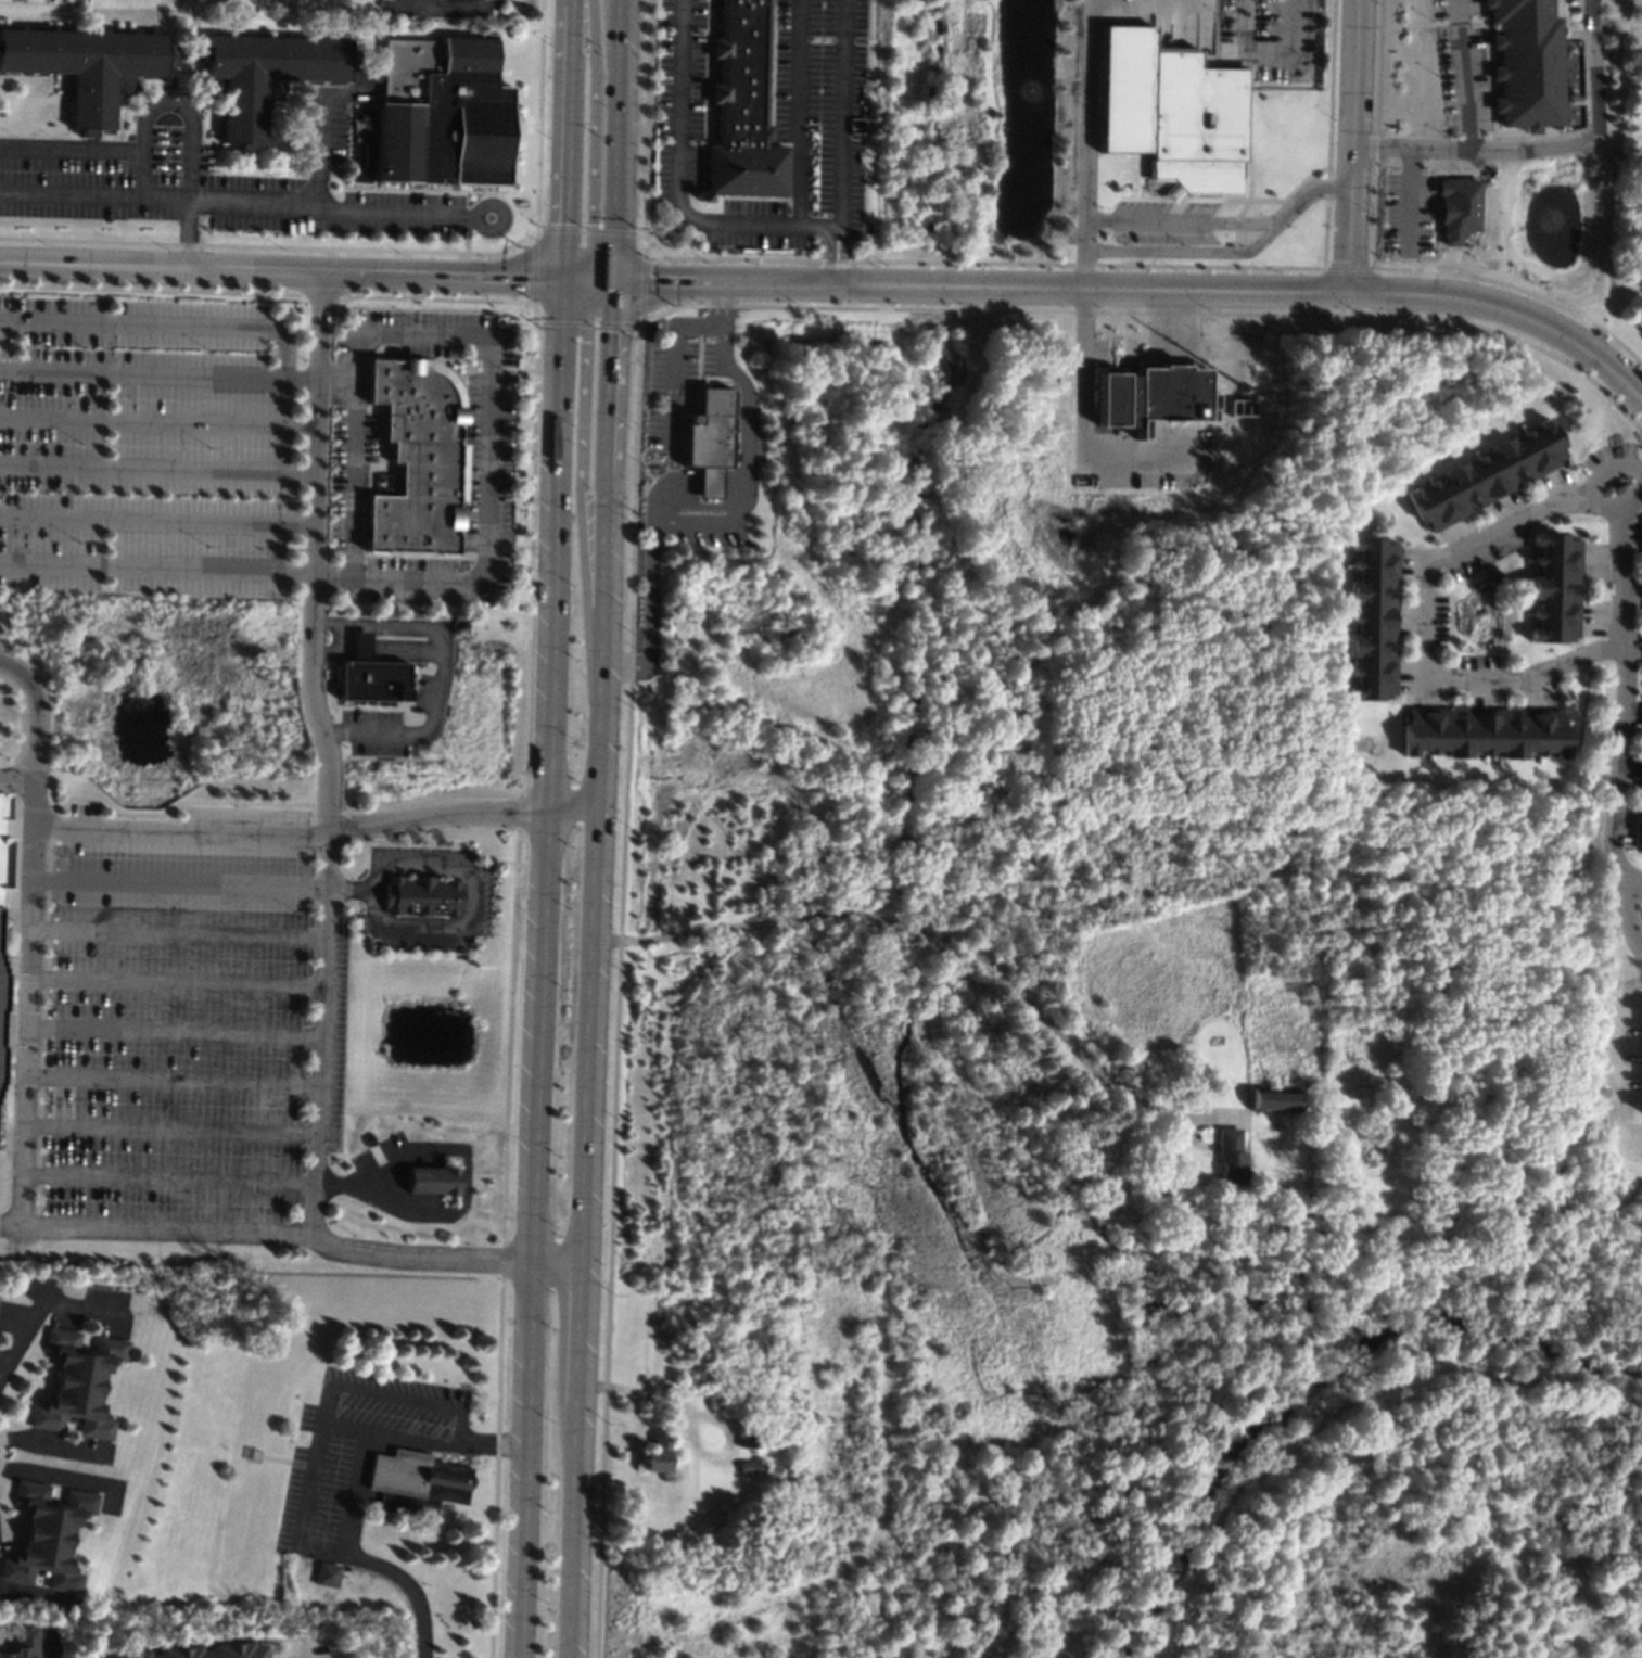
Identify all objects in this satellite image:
road: (400, 3)
road: (445, 7)
parking lot: (1272, 38)
road: (1270, 46)
building: (1526, 63)
parking lot: (1462, 65)
road: (1463, 74)
building: (1573, 99)
building: (740, 107)
road: (797, 111)
building: (1170, 111)
building: (442, 115)
road: (837, 116)
road: (189, 124)
parking lot: (767, 125)
road: (326, 128)
road: (565, 141)
road: (619, 142)
road: (1093, 144)
road: (1544, 144)
road: (1359, 145)
road: (591, 148)
road: (72, 150)
road: (677, 163)
parking lot: (213, 184)
road: (1409, 199)
road: (237, 203)
building: (1458, 208)
road: (474, 221)
traffic signals: (563, 224)
traffic signals: (589, 224)
road: (1185, 224)
parking lot: (1164, 225)
road: (833, 241)
road: (1238, 253)
building: (1641, 257)
road: (280, 272)
traffic signals: (527, 281)
road: (588, 283)
traffic signals: (653, 285)
road: (1144, 291)
road: (720, 305)
road: (1172, 317)
road: (161, 321)
traffic signals: (615, 331)
traffic signals: (584, 341)
road: (671, 365)
road: (158, 369)
road: (1090, 372)
building: (1153, 396)
road: (157, 421)
road: (491, 437)
building: (708, 439)
parking lot: (144, 445)
building: (418, 458)
road: (1606, 459)
road: (156, 465)
building: (1486, 475)
road: (353, 476)
building: (1618, 481)
road: (742, 486)
road: (581, 494)
road: (156, 518)
building: (1640, 535)
road: (155, 563)
building: (1641, 584)
building: (1551, 585)
road: (648, 608)
building: (1641, 611)
building: (1371, 615)
road: (1425, 617)
road: (399, 624)
road: (374, 642)
road: (386, 654)
road: (599, 667)
building: (368, 675)
road: (1621, 717)
building: (1480, 731)
building: (1641, 731)
road: (406, 737)
road: (324, 754)
building: (1639, 776)
road: (14, 781)
building: (1, 802)
road: (433, 811)
road: (571, 811)
building: (1637, 828)
road: (176, 831)
building: (1, 858)
road: (1635, 878)
road: (176, 881)
road: (349, 885)
building: (422, 896)
road: (468, 908)
road: (912, 927)
road: (175, 932)
road: (25, 938)
road: (539, 969)
road: (594, 971)
road: (174, 981)
building: (1, 992)
building: (1640, 1013)
parking lot: (177, 1025)
road: (173, 1030)
building: (0, 1057)
building: (1640, 1063)
road: (171, 1080)
building: (1181, 1100)
building: (1275, 1100)
building: (1320, 1125)
road: (171, 1128)
building: (1230, 1157)
road: (468, 1174)
road: (190, 1178)
building: (435, 1179)
road: (267, 1235)
road: (558, 1264)
road: (40, 1305)
building: (78, 1382)
road: (332, 1390)
building: (624, 1401)
building: (716, 1401)
building: (749, 1436)
road: (493, 1444)
road: (47, 1445)
parking lot: (359, 1453)
building: (658, 1454)
building: (758, 1467)
road: (53, 1478)
building: (417, 1481)
park: (1194, 1488)
road: (358, 1491)
road: (309, 1508)
building: (47, 1535)
building: (324, 1574)
road: (411, 1592)
building: (23, 1643)
road: (304, 1650)
building: (202, 1651)
road: (50, 1653)

